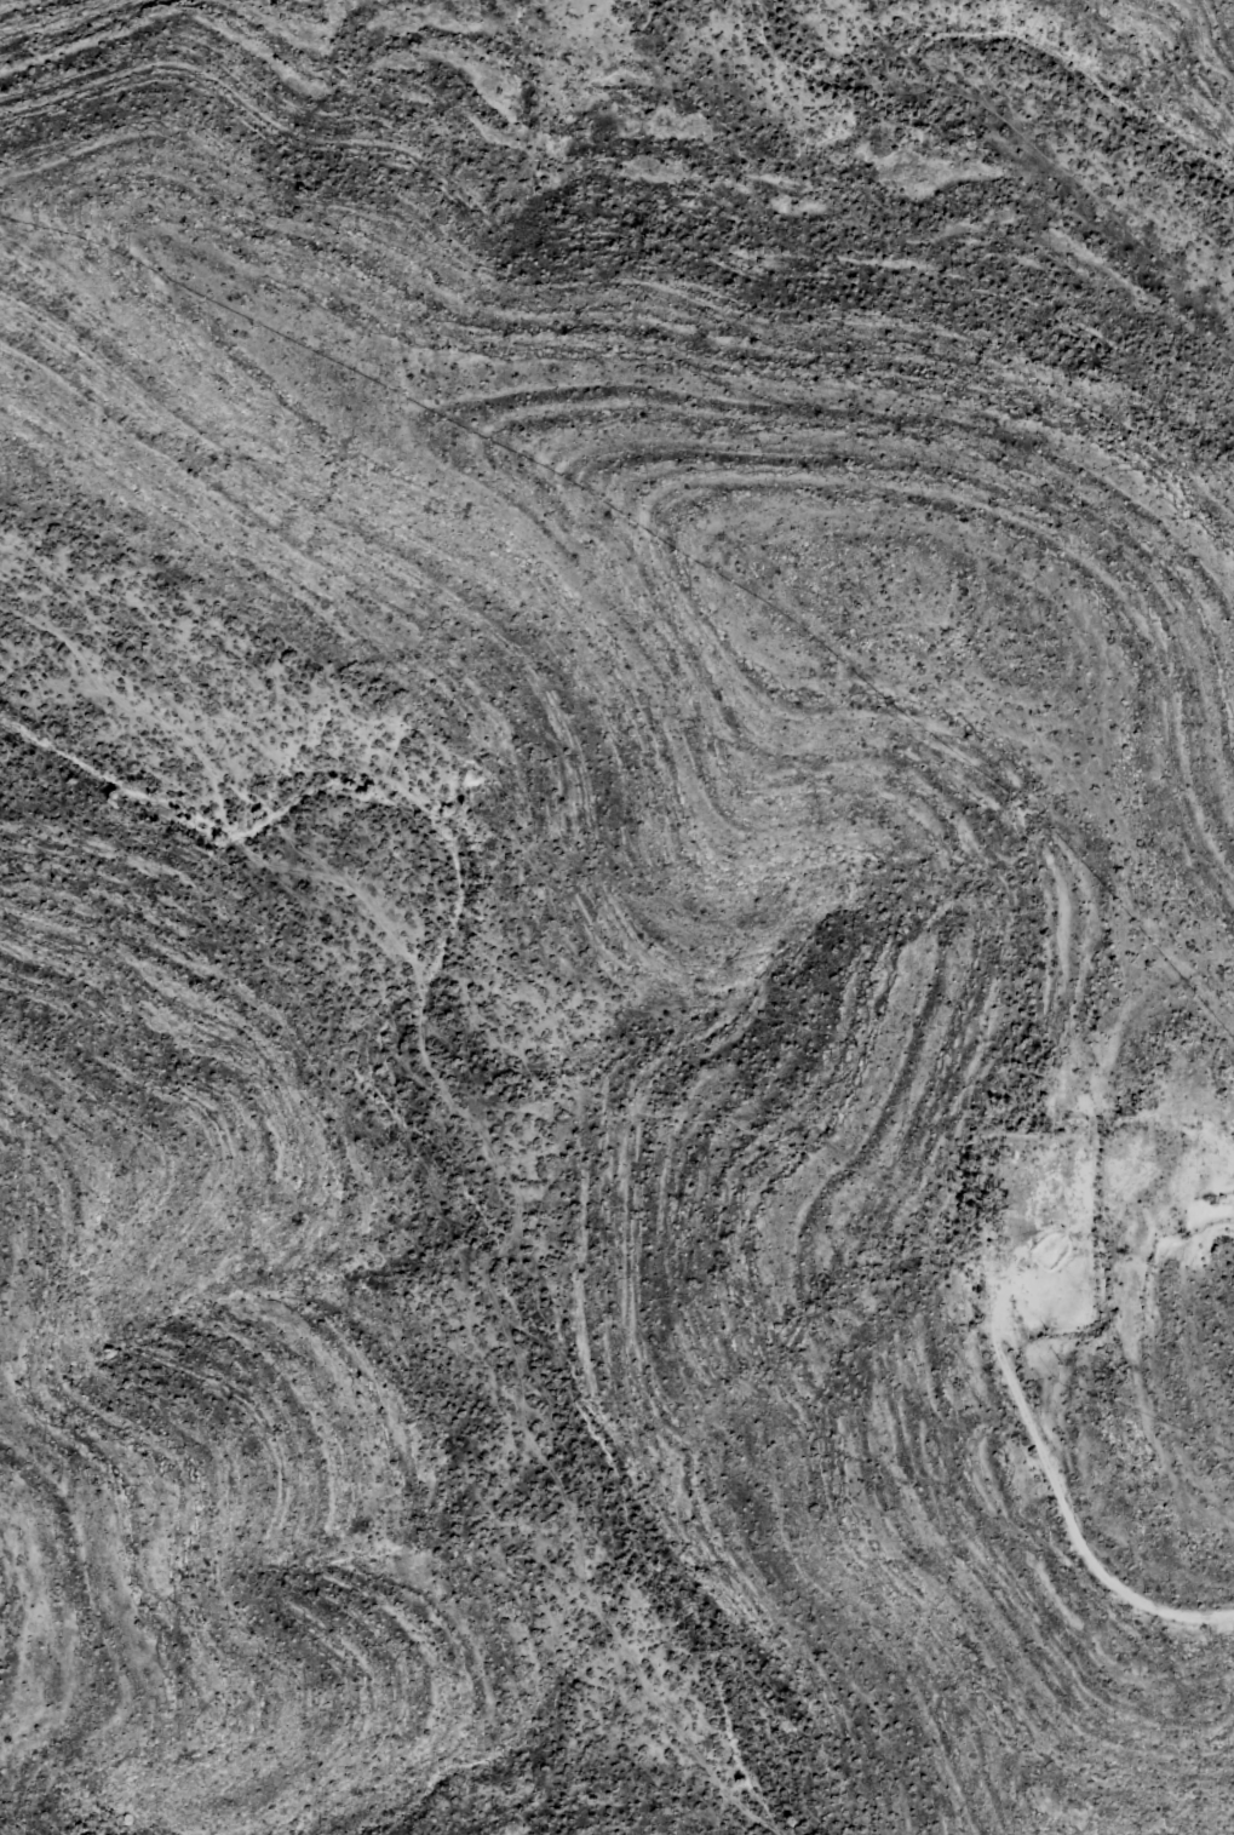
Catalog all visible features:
road: (1029, 1585)

